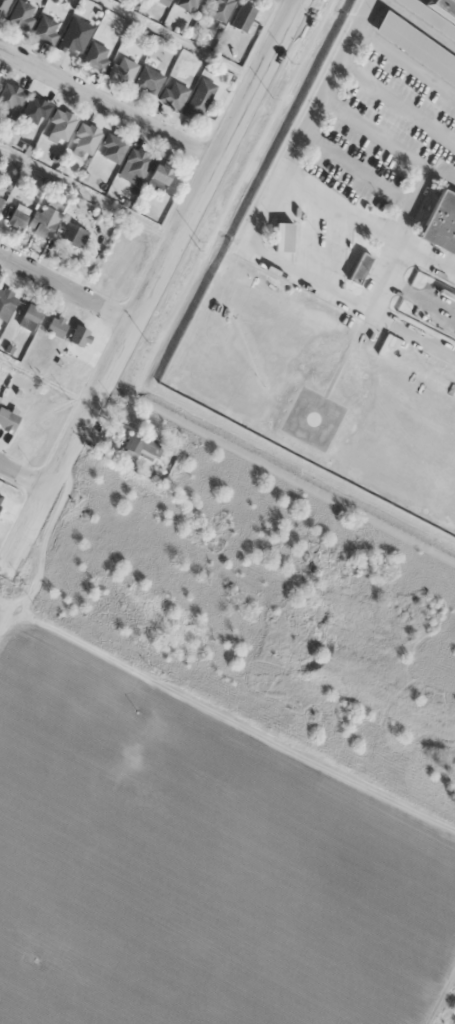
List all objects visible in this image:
building: (162, 1)
road: (298, 1)
building: (186, 4)
building: (3, 5)
building: (218, 8)
building: (20, 14)
building: (242, 17)
building: (45, 30)
building: (75, 34)
building: (415, 46)
building: (95, 55)
building: (121, 70)
building: (147, 80)
building: (173, 94)
building: (10, 99)
building: (198, 99)
road: (109, 106)
building: (34, 109)
building: (60, 125)
building: (85, 138)
building: (112, 148)
building: (136, 163)
building: (157, 176)
building: (0, 199)
building: (15, 218)
building: (440, 224)
building: (55, 228)
building: (282, 237)
building: (358, 266)
road: (69, 287)
road: (154, 292)
building: (5, 302)
building: (29, 315)
building: (55, 325)
building: (7, 419)
building: (140, 446)
road: (25, 473)

